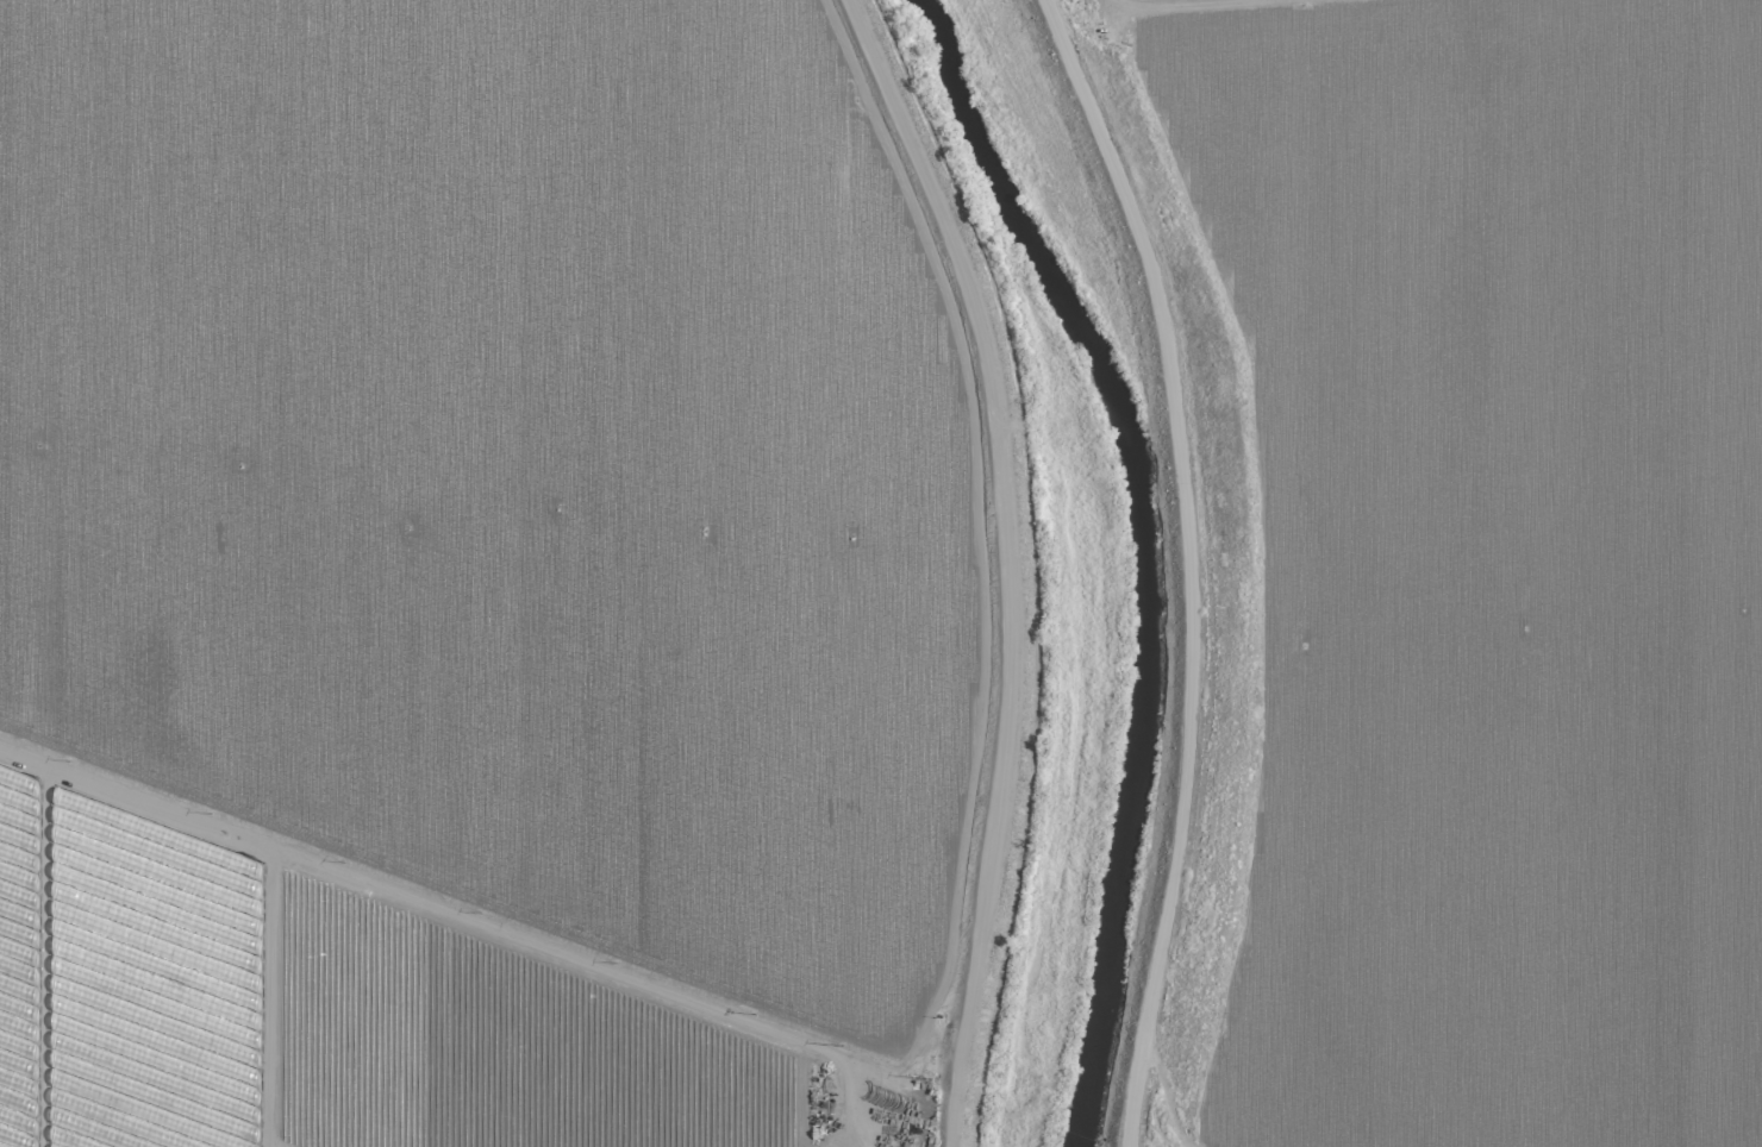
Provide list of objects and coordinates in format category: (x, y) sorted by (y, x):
road: (1007, 562)
crop: (1452, 568)
crop: (469, 579)
road: (461, 921)

